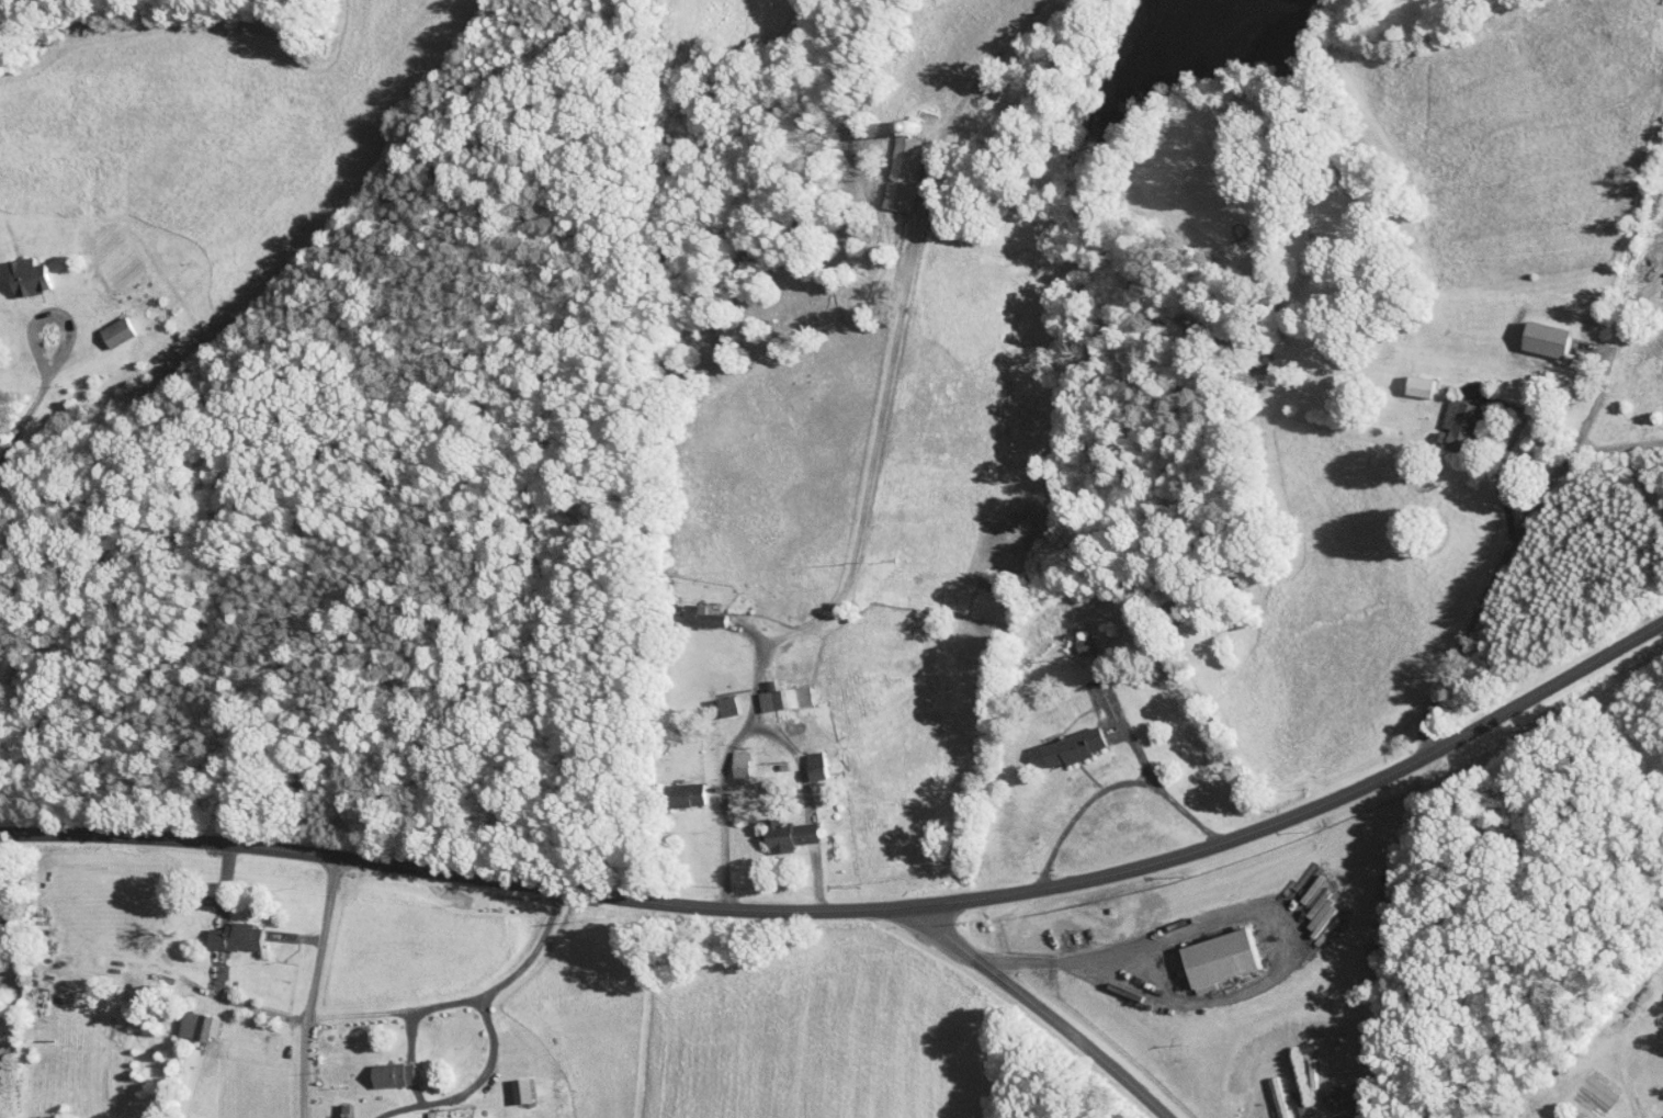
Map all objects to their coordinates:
building: (886, 166)
road: (50, 310)
building: (101, 324)
building: (1527, 332)
building: (1662, 354)
building: (1404, 380)
building: (1440, 418)
road: (24, 419)
road: (1613, 447)
road: (1572, 448)
road: (1504, 452)
road: (857, 558)
building: (683, 608)
building: (1070, 636)
building: (776, 690)
building: (711, 698)
building: (1056, 738)
building: (725, 759)
road: (797, 759)
building: (669, 787)
road: (1162, 789)
road: (1078, 811)
building: (773, 828)
road: (859, 907)
road: (1253, 911)
building: (219, 929)
road: (13, 939)
building: (1204, 949)
road: (7, 973)
road: (313, 985)
road: (463, 998)
road: (1036, 1006)
road: (261, 1007)
road: (12, 1015)
building: (183, 1018)
building: (375, 1066)
building: (505, 1082)
road: (470, 1085)
building: (1325, 1089)
building: (1264, 1092)
building: (1290, 1104)

